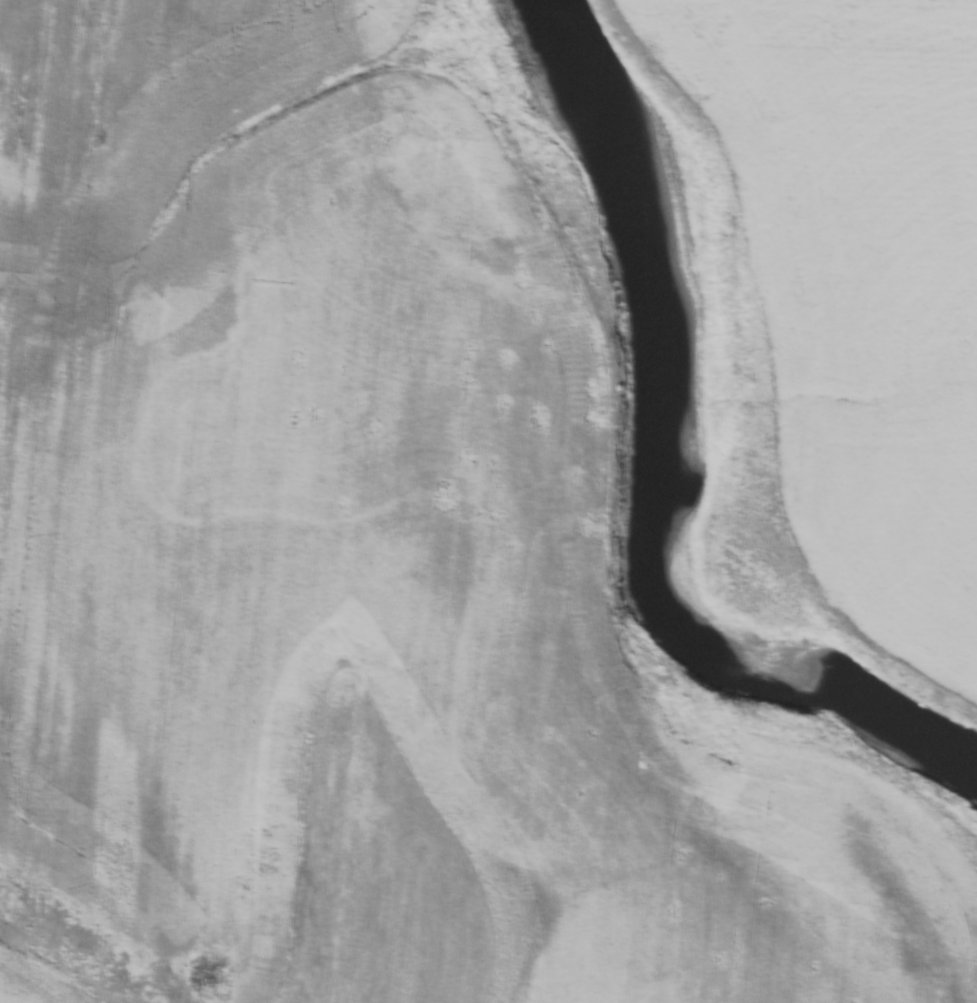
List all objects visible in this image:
river: (673, 471)

